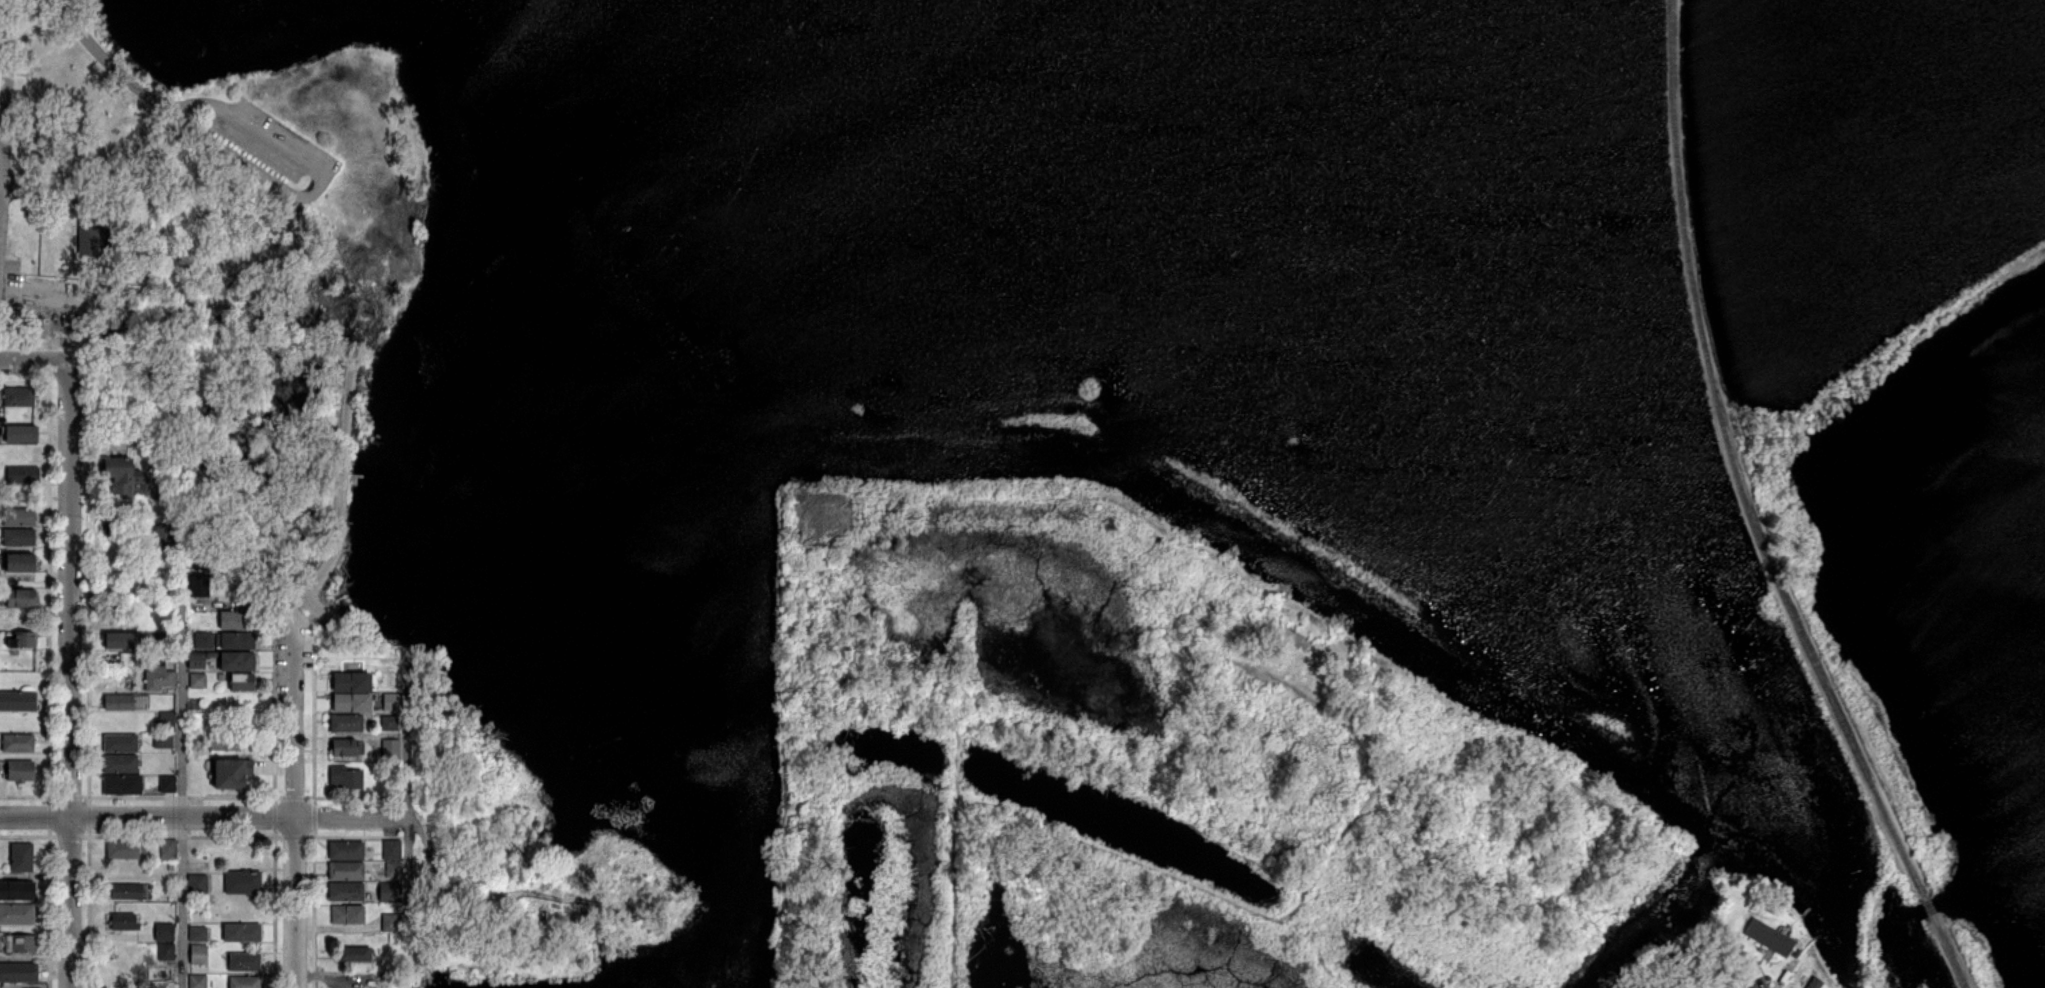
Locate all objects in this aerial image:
road: (192, 103)
road: (181, 120)
road: (272, 140)
parking lot: (272, 142)
road: (3, 155)
building: (88, 237)
road: (34, 361)
building: (18, 394)
building: (20, 431)
park: (1108, 458)
railway: (1735, 467)
building: (21, 473)
building: (120, 474)
building: (19, 516)
building: (162, 535)
building: (18, 538)
building: (20, 563)
building: (199, 586)
building: (21, 597)
building: (237, 620)
building: (163, 629)
building: (190, 633)
building: (23, 638)
building: (121, 640)
building: (167, 641)
building: (203, 641)
building: (235, 641)
building: (215, 655)
building: (195, 659)
building: (240, 661)
building: (149, 670)
road: (68, 675)
building: (221, 677)
building: (197, 681)
building: (241, 681)
building: (352, 681)
building: (17, 701)
building: (390, 701)
building: (352, 702)
building: (119, 703)
building: (168, 722)
building: (346, 723)
building: (389, 723)
building: (196, 734)
building: (163, 741)
building: (17, 743)
building: (120, 743)
building: (225, 743)
building: (342, 748)
building: (392, 750)
road: (182, 754)
building: (120, 764)
building: (20, 772)
building: (233, 774)
building: (345, 777)
building: (122, 784)
building: (167, 784)
building: (194, 785)
road: (407, 790)
road: (295, 808)
road: (204, 818)
building: (167, 848)
building: (392, 849)
building: (122, 850)
building: (345, 850)
building: (21, 858)
building: (170, 867)
building: (393, 870)
building: (345, 871)
building: (241, 882)
building: (197, 883)
building: (17, 891)
building: (125, 891)
building: (348, 891)
building: (391, 892)
railway: (1929, 907)
building: (16, 914)
building: (348, 915)
building: (123, 921)
building: (391, 922)
building: (164, 932)
building: (242, 932)
building: (197, 933)
building: (1769, 938)
building: (396, 939)
building: (445, 941)
building: (20, 944)
building: (1797, 951)
railway: (1949, 951)
building: (165, 952)
building: (197, 952)
building: (518, 952)
building: (355, 954)
building: (243, 962)
building: (18, 972)
building: (156, 973)
building: (197, 981)
building: (245, 982)
road: (1755, 983)
building: (1812, 983)

